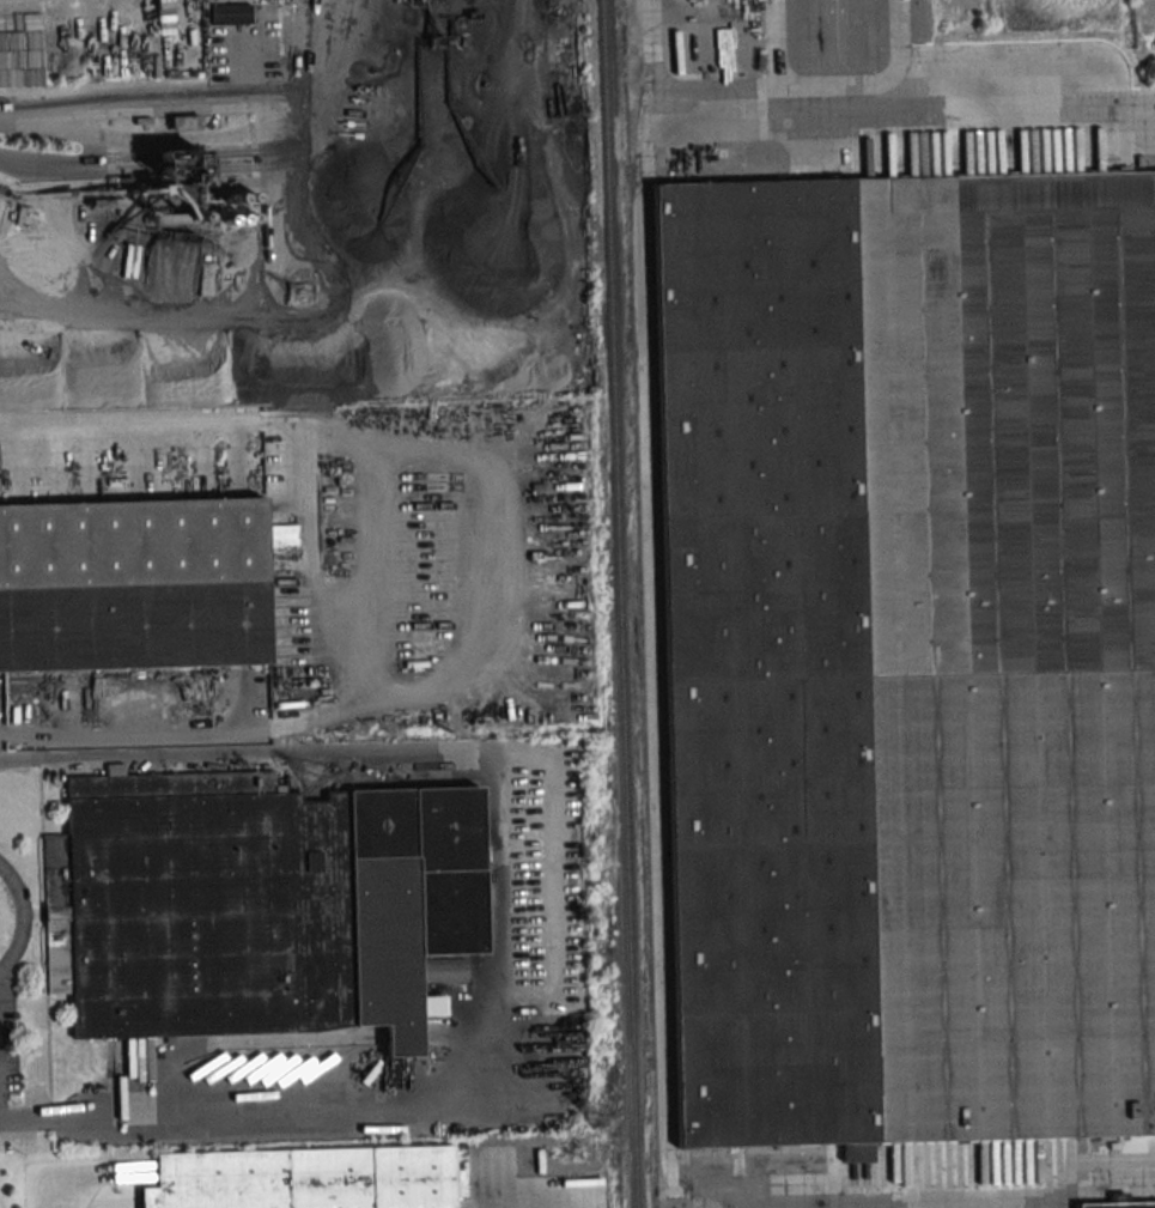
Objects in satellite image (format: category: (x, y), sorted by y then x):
building: (231, 13)
road: (651, 59)
road: (968, 80)
road: (69, 102)
power tower: (297, 295)
road: (493, 575)
road: (312, 581)
building: (133, 588)
railway: (628, 603)
building: (908, 651)
road: (18, 759)
power tower: (314, 781)
building: (262, 905)
road: (19, 922)
road: (506, 936)
power tower: (597, 1118)
building: (306, 1178)
building: (1118, 1204)

